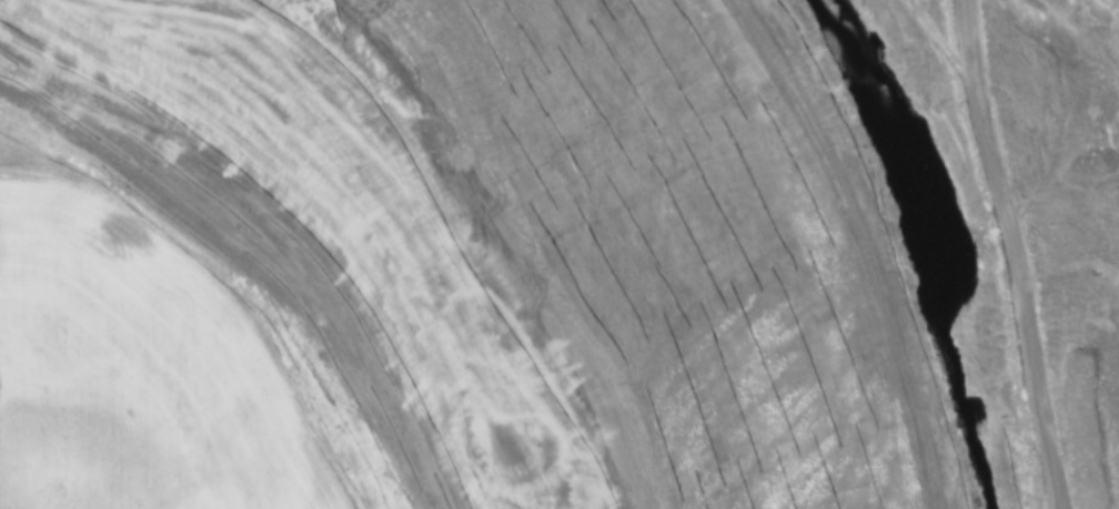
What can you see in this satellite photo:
road: (332, 193)
road: (992, 245)

